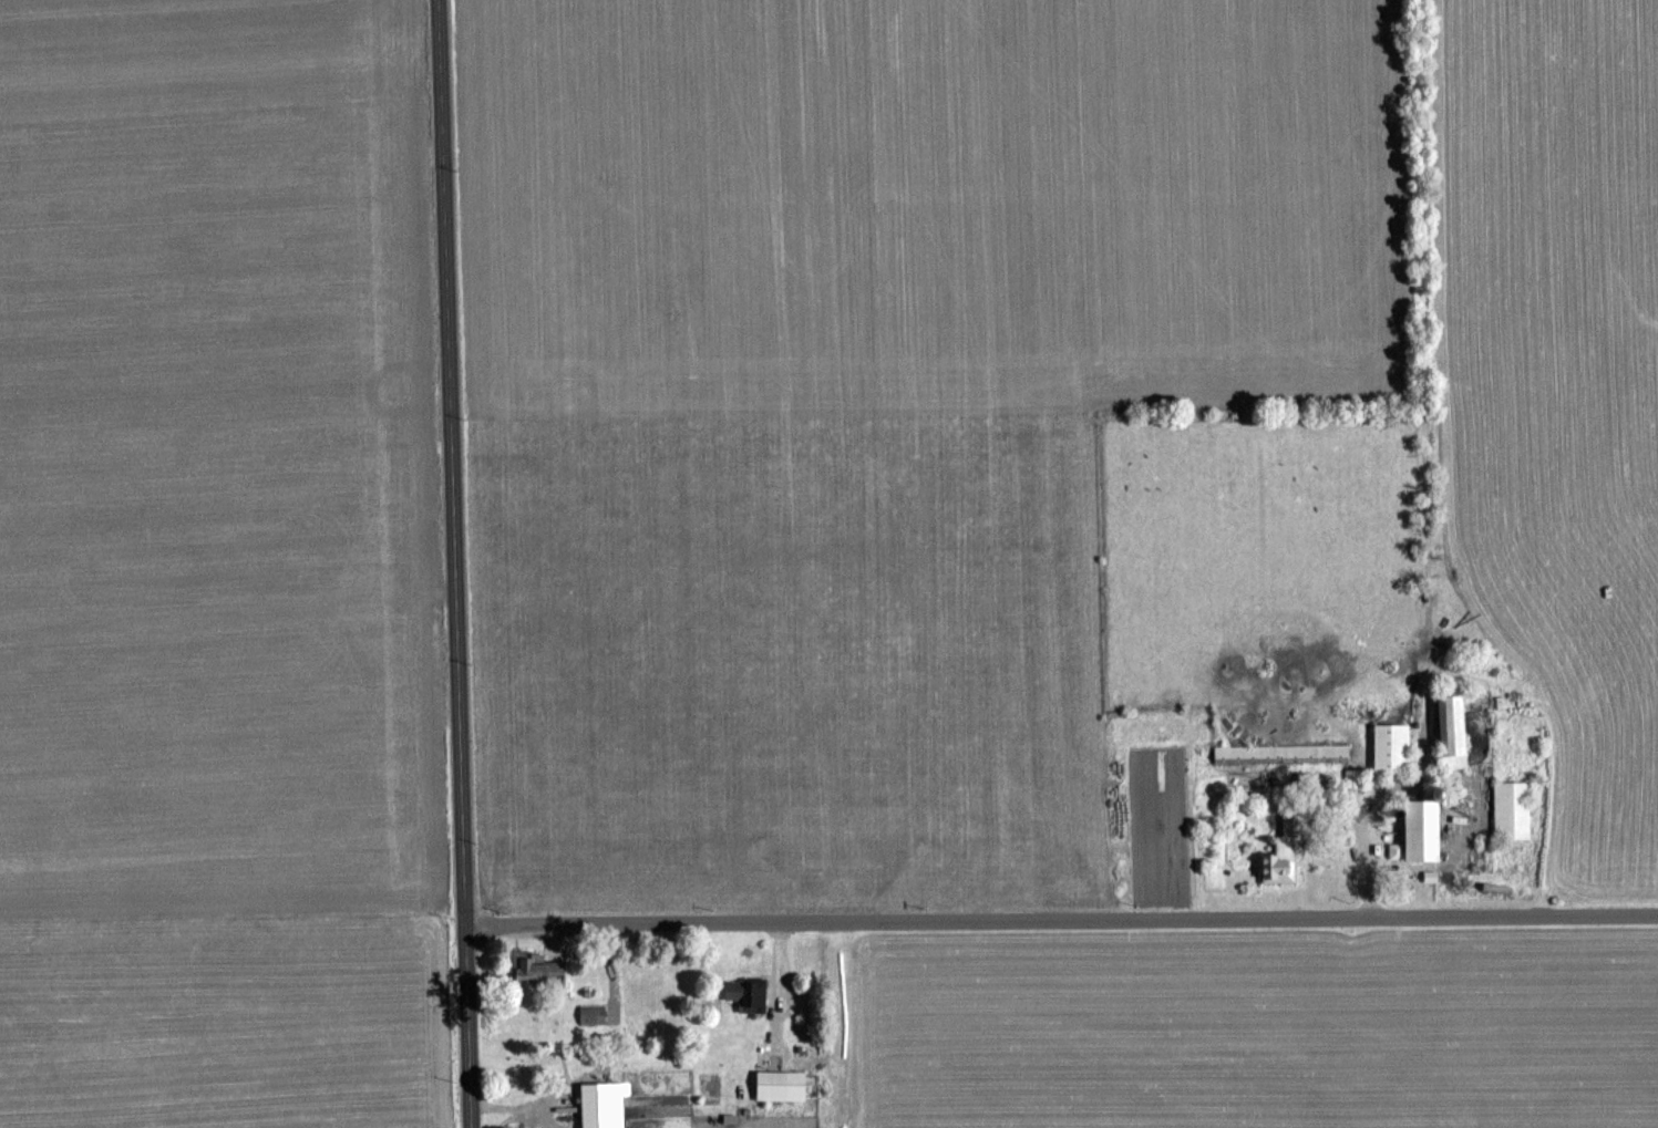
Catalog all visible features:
road: (453, 563)
building: (1455, 731)
building: (1393, 747)
building: (1283, 753)
building: (1513, 809)
building: (1425, 829)
building: (1281, 861)
road: (1060, 918)
building: (538, 967)
building: (748, 993)
building: (593, 1014)
building: (782, 1085)
building: (598, 1105)

